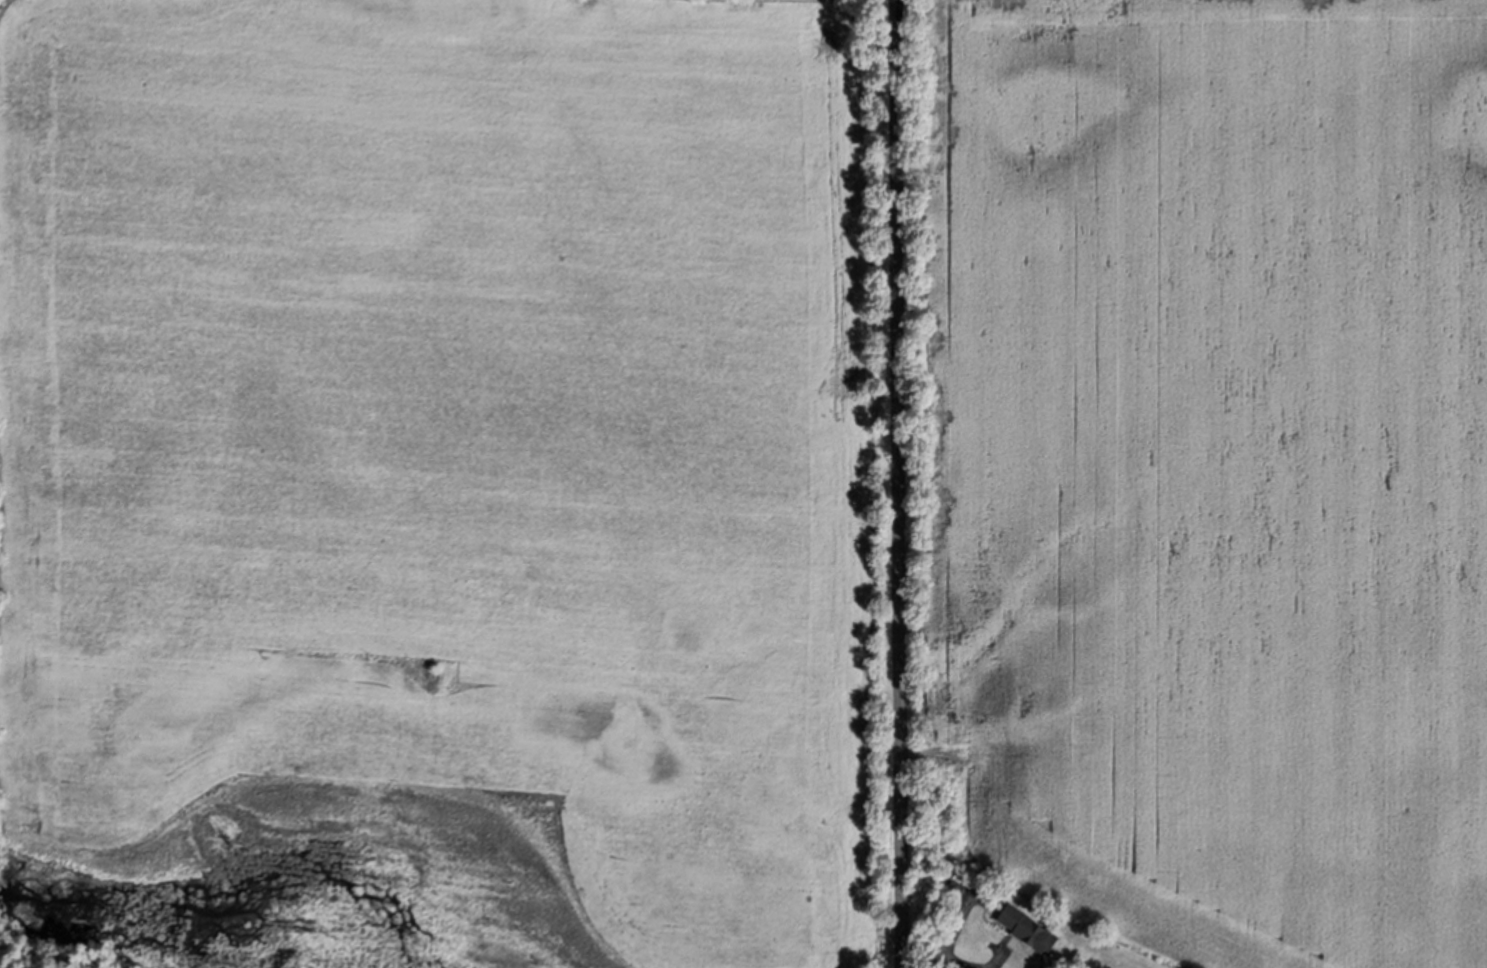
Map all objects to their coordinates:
crop: (446, 482)
road: (898, 484)
building: (1031, 929)
road: (949, 941)
road: (999, 959)
road: (959, 962)

